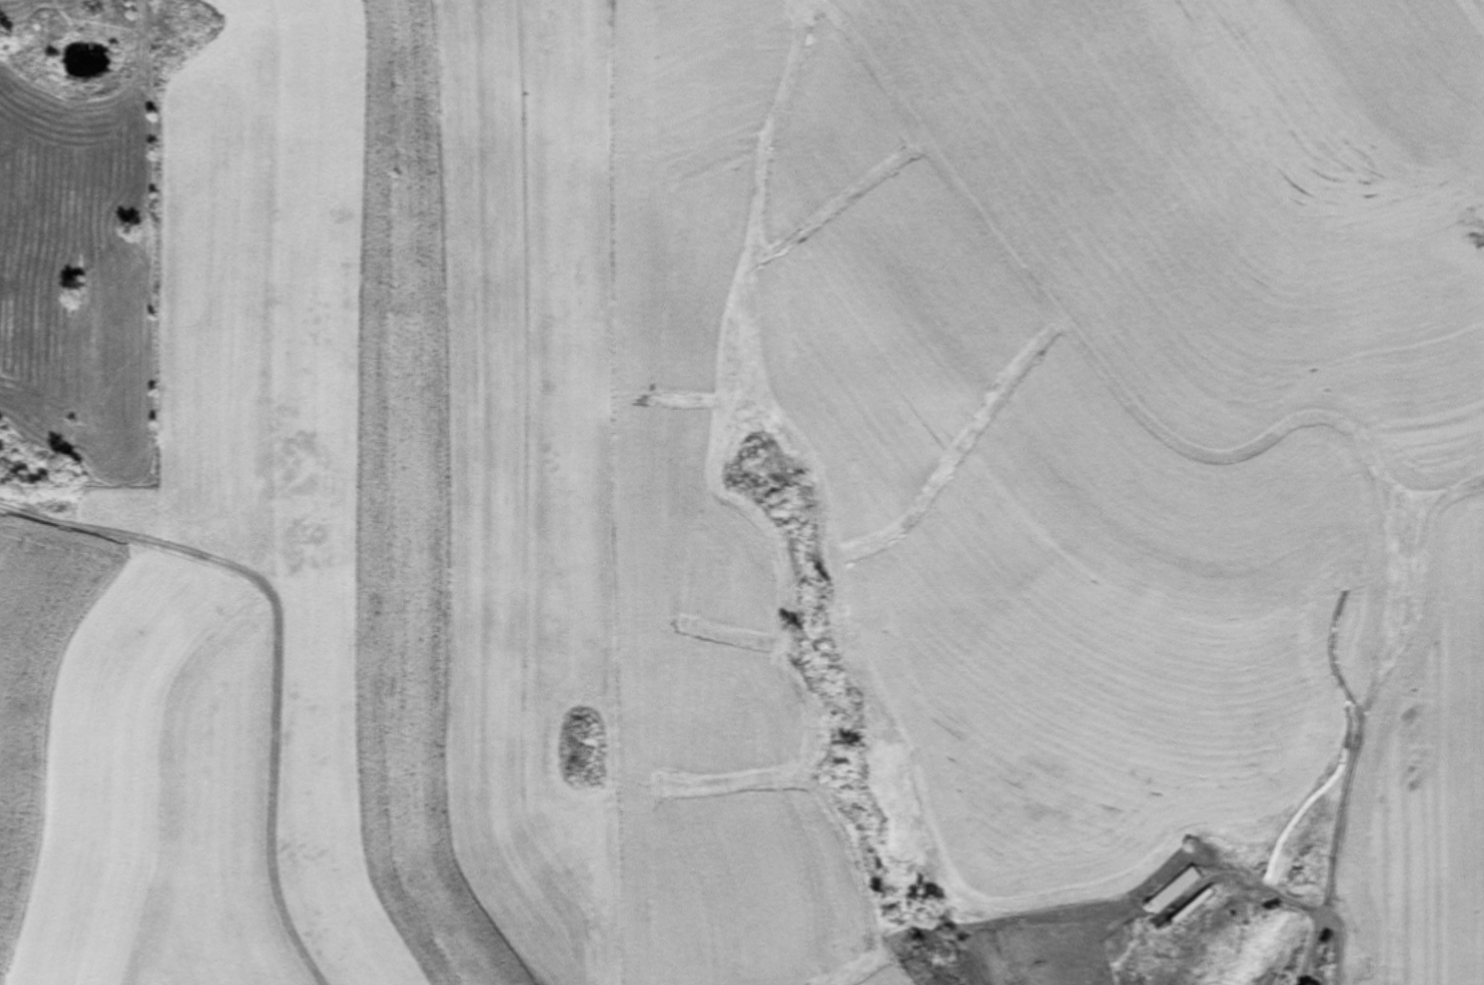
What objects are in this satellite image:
building: (1180, 890)
building: (1199, 901)

